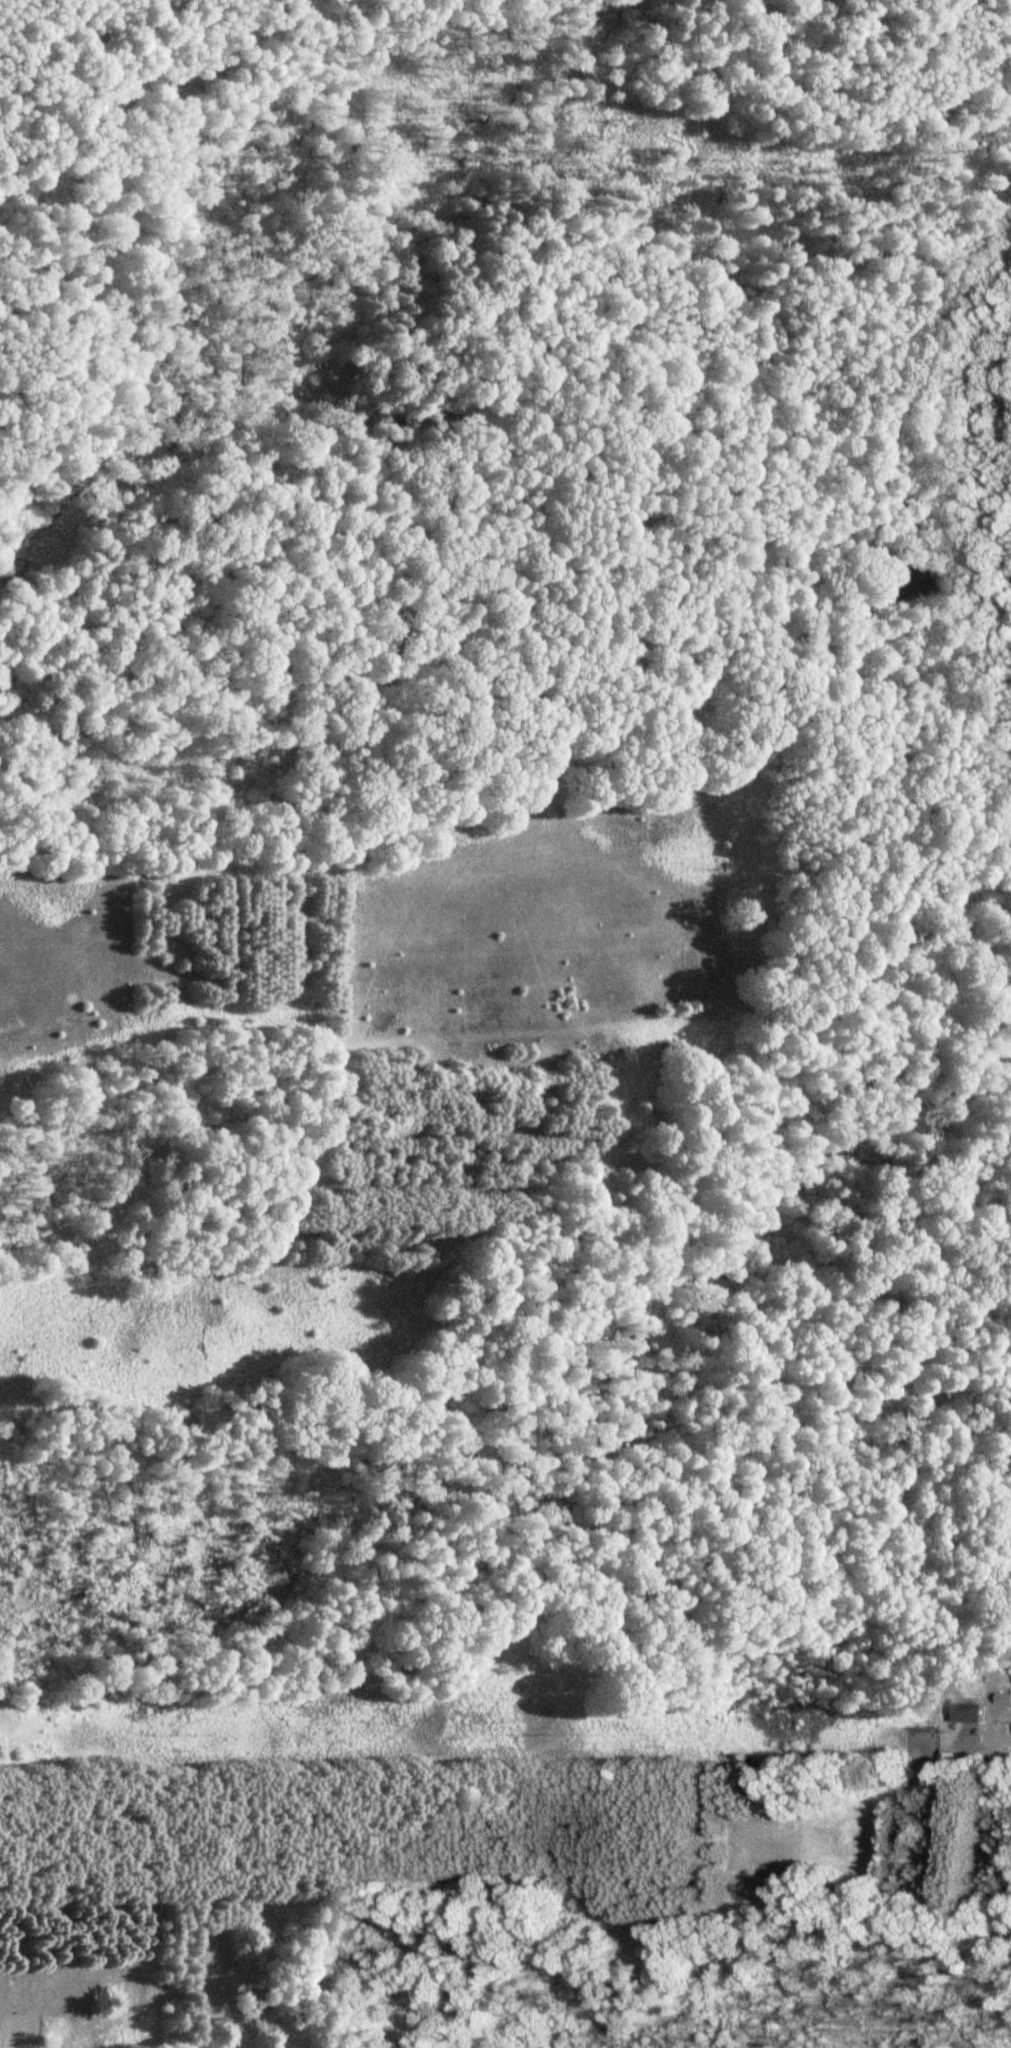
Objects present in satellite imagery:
building: (1002, 1698)
building: (966, 1713)

